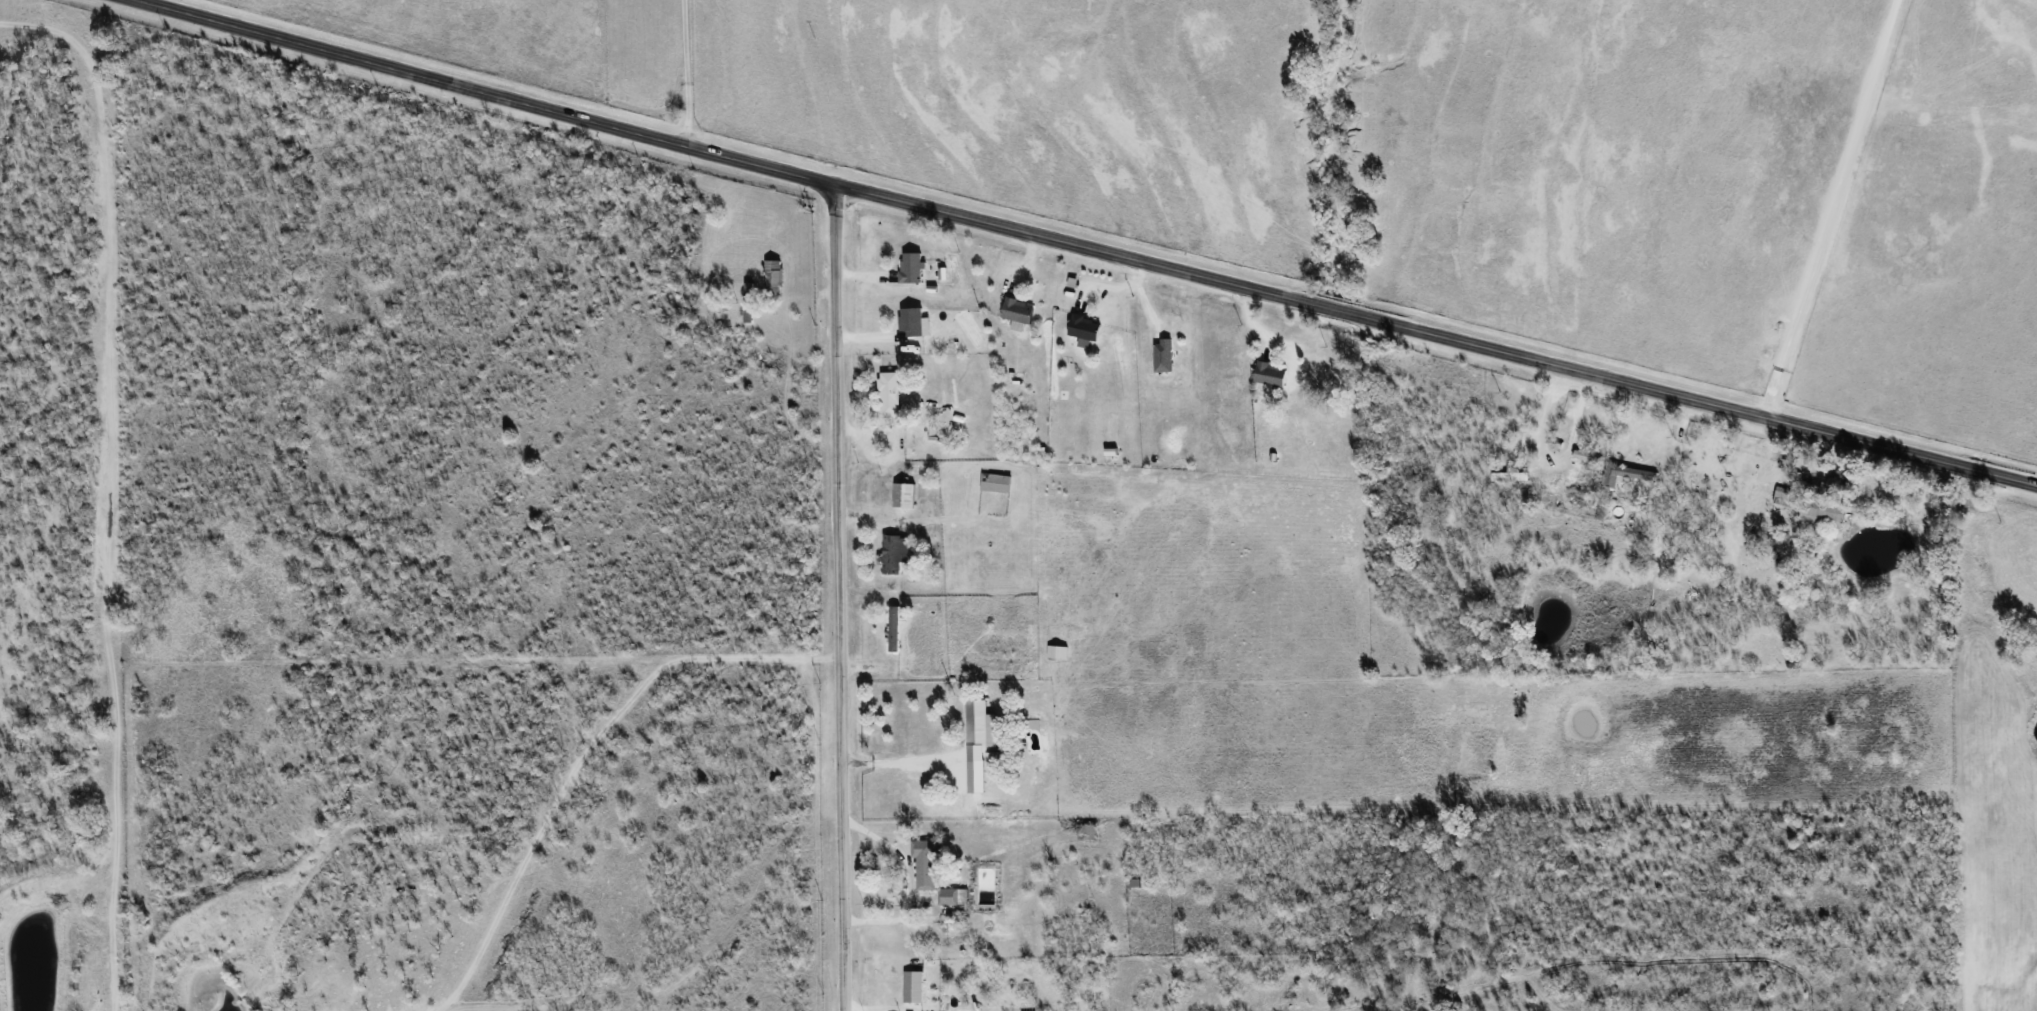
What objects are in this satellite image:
road: (687, 73)
road: (1830, 208)
road: (1083, 248)
building: (913, 267)
building: (776, 273)
building: (750, 302)
building: (1020, 313)
building: (913, 320)
building: (1087, 329)
building: (1165, 355)
building: (1273, 374)
building: (893, 396)
building: (1588, 456)
building: (1628, 474)
building: (1511, 476)
building: (997, 483)
building: (907, 495)
building: (1826, 512)
building: (896, 552)
road: (840, 598)
building: (896, 627)
building: (1059, 651)
road: (1878, 696)
building: (982, 724)
road: (903, 762)
building: (978, 775)
building: (927, 862)
building: (949, 896)
building: (916, 986)

